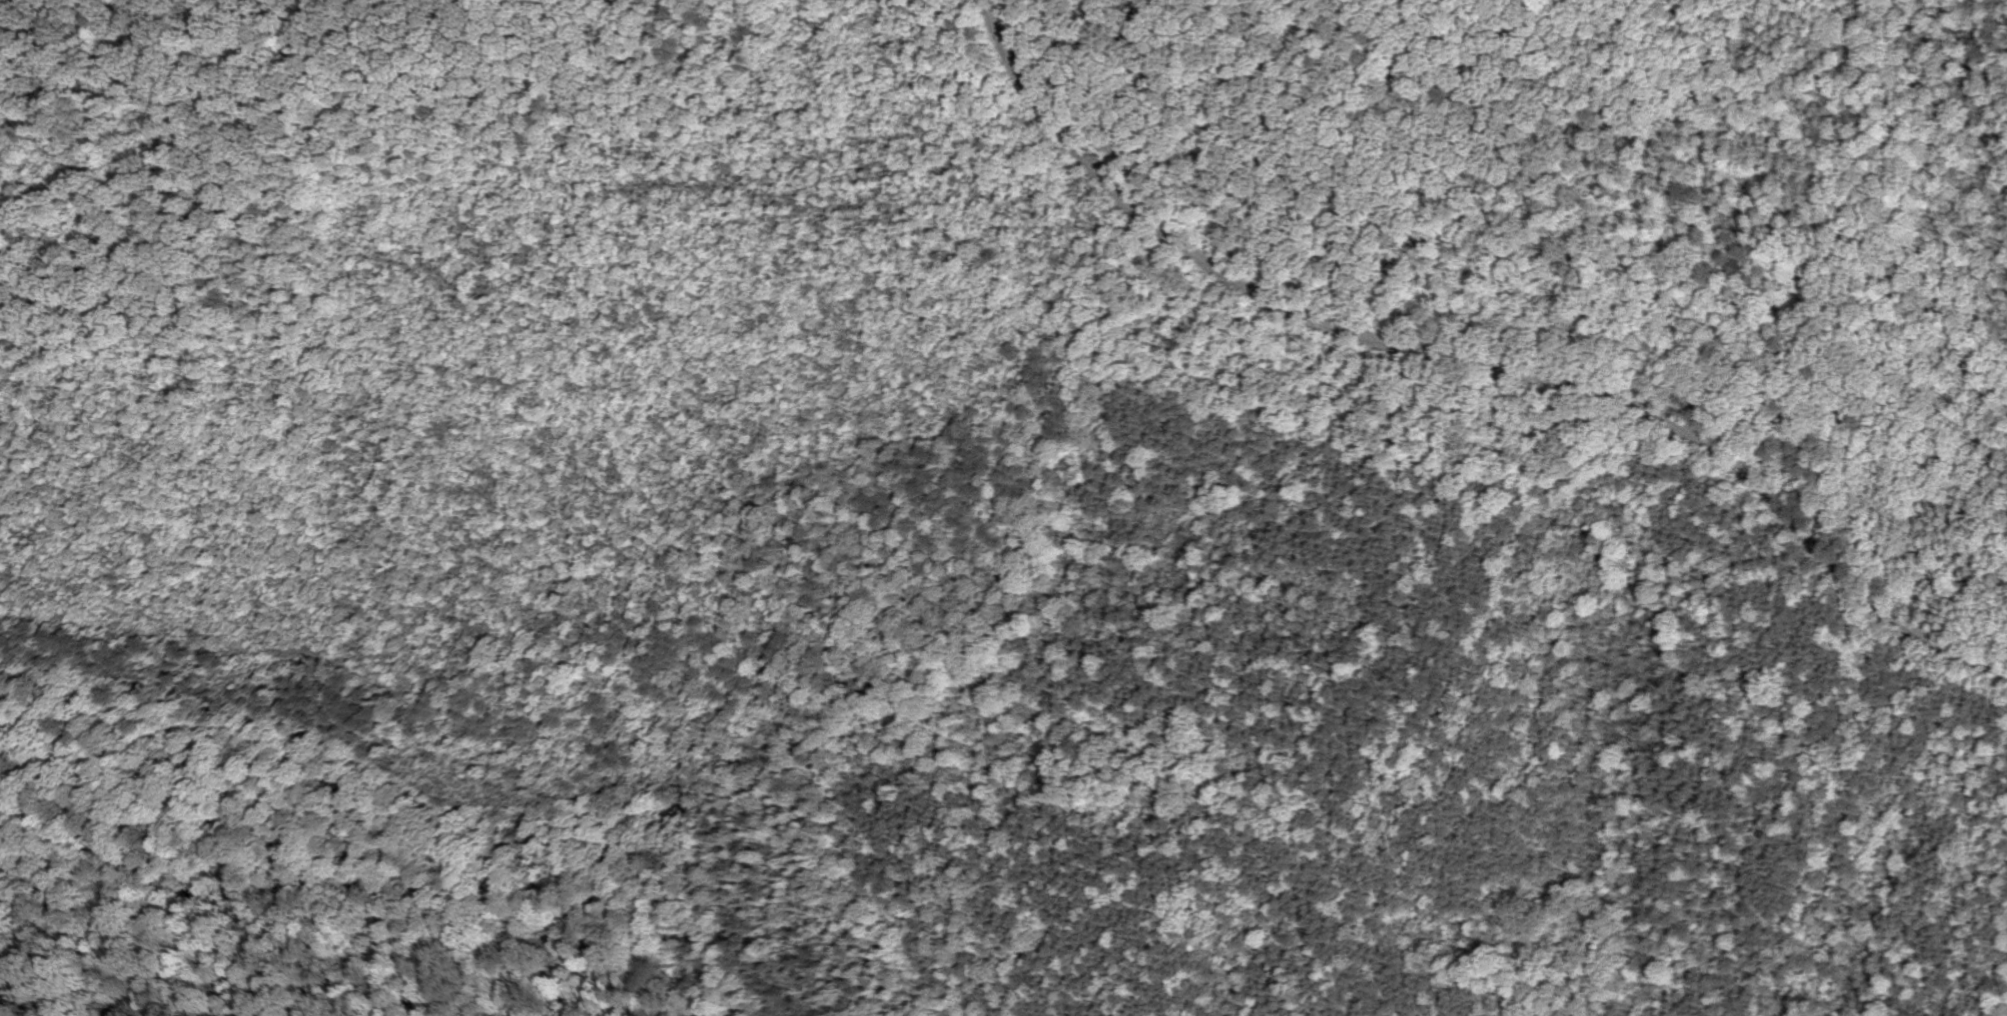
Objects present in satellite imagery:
park: (7, 15)
road: (1467, 361)
park: (425, 820)

